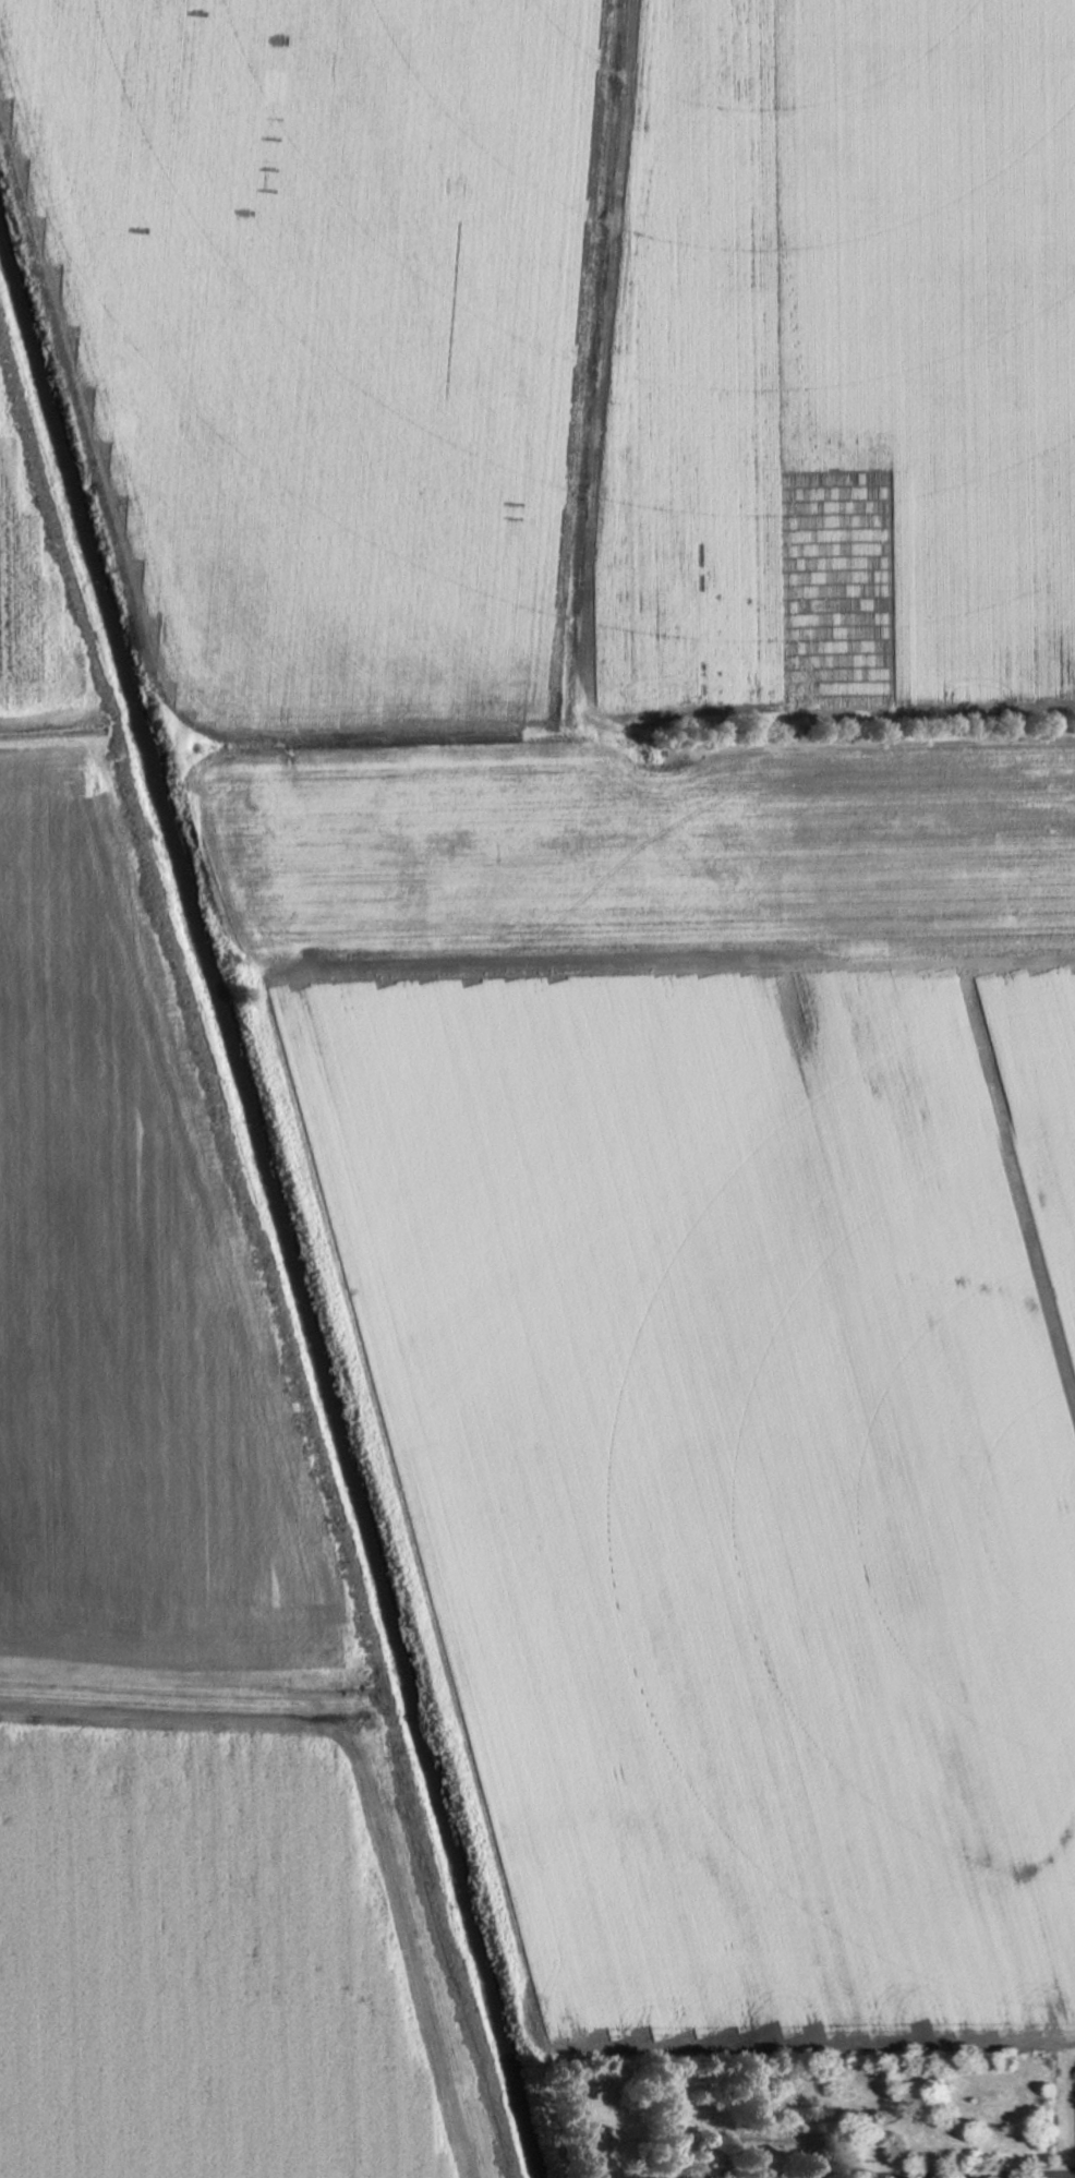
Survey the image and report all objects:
road: (1048, 2171)
road: (835, 2174)
road: (1055, 2175)

